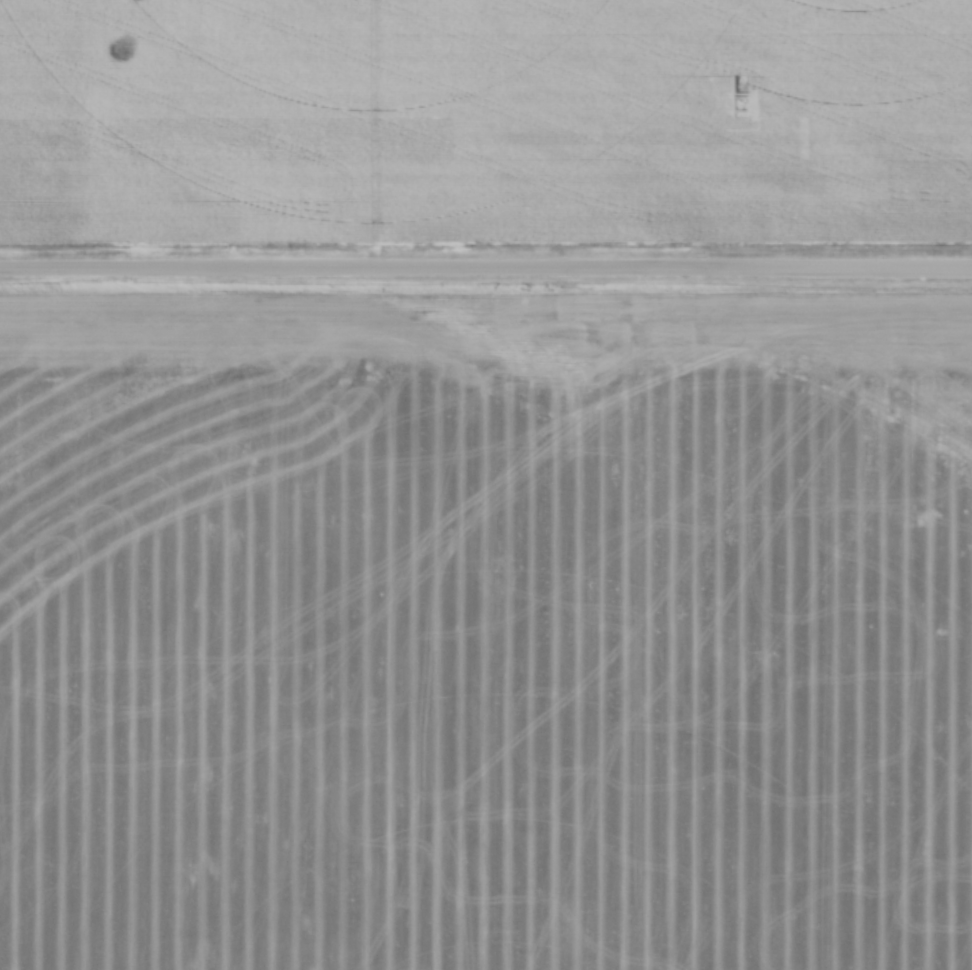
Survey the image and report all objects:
road: (486, 271)

